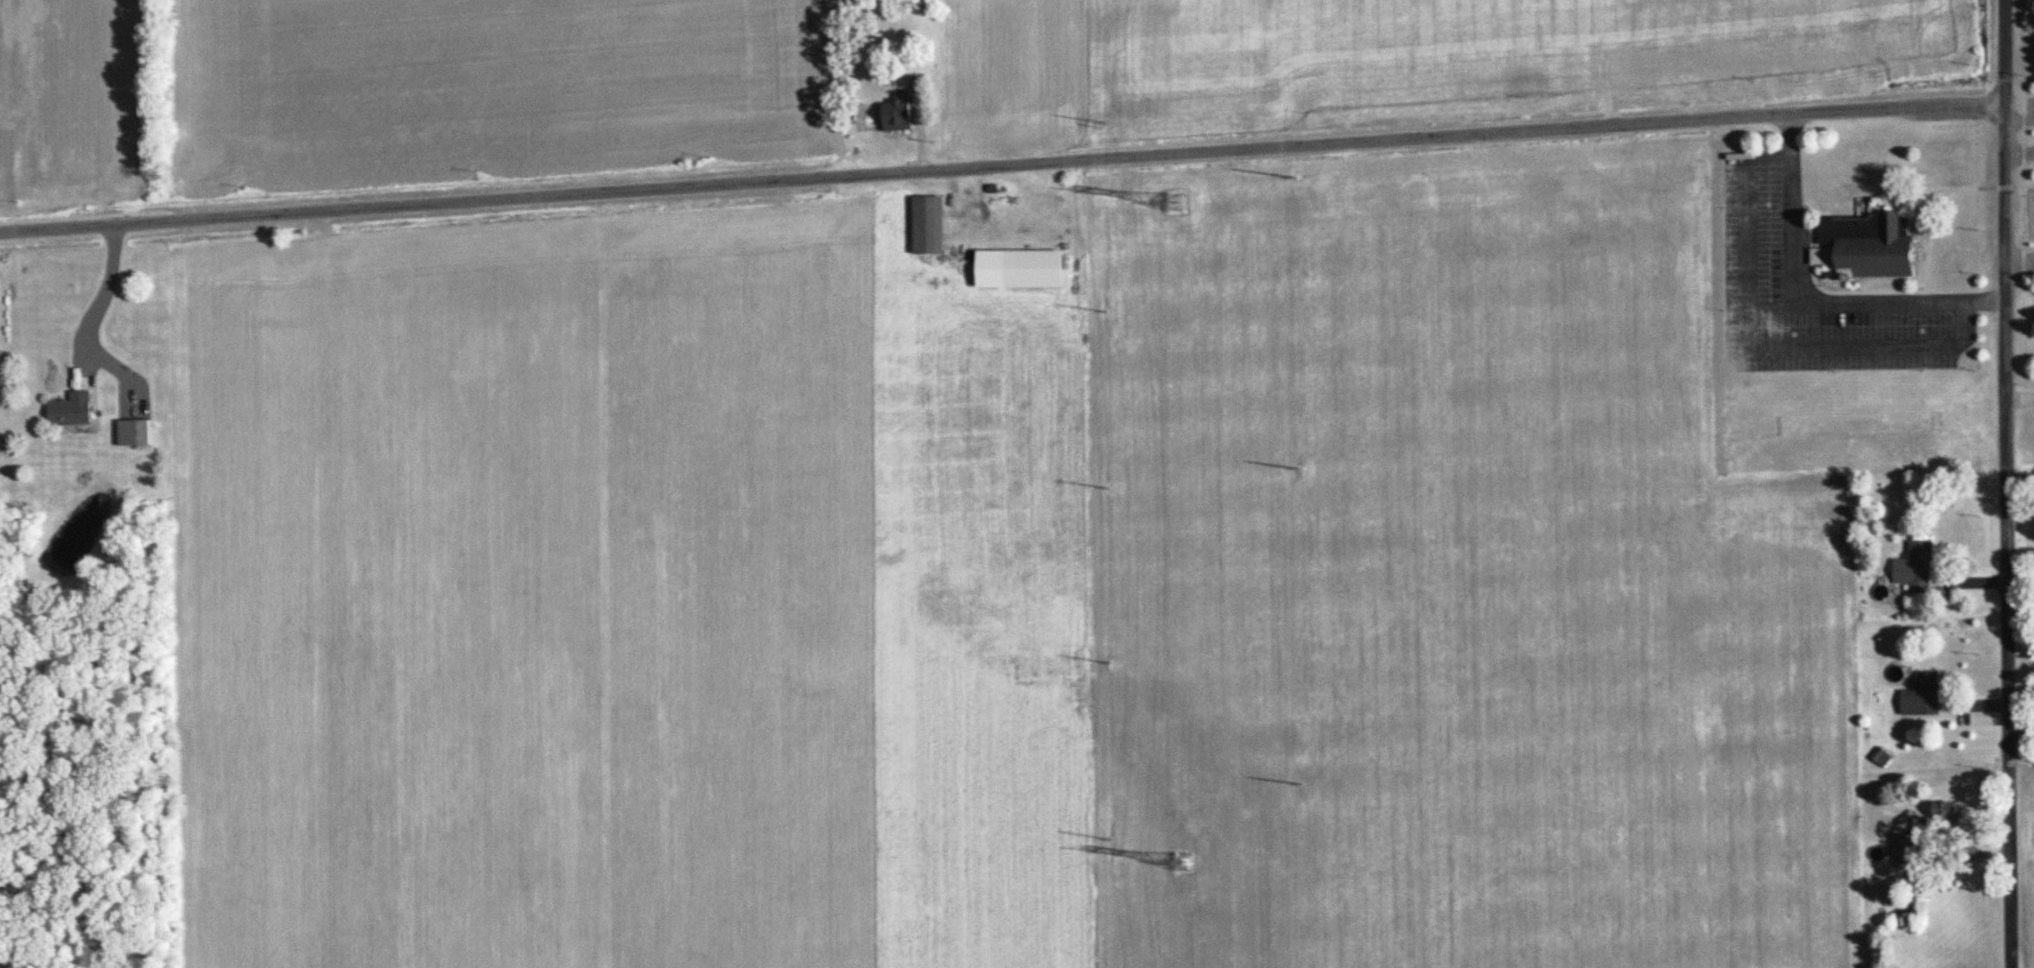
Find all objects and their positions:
building: (904, 112)
road: (2013, 117)
power tower: (1106, 123)
road: (2013, 151)
road: (996, 168)
power tower: (1293, 175)
power tower: (1175, 202)
building: (933, 225)
building: (1867, 249)
road: (2014, 259)
building: (1040, 269)
road: (95, 294)
power tower: (1107, 311)
building: (74, 409)
building: (143, 433)
power tower: (1296, 467)
road: (1998, 484)
power tower: (1108, 488)
building: (1926, 567)
power tower: (1110, 662)
building: (1926, 695)
power tower: (1299, 783)
building: (1934, 829)
power tower: (1111, 838)
power tower: (1183, 863)

